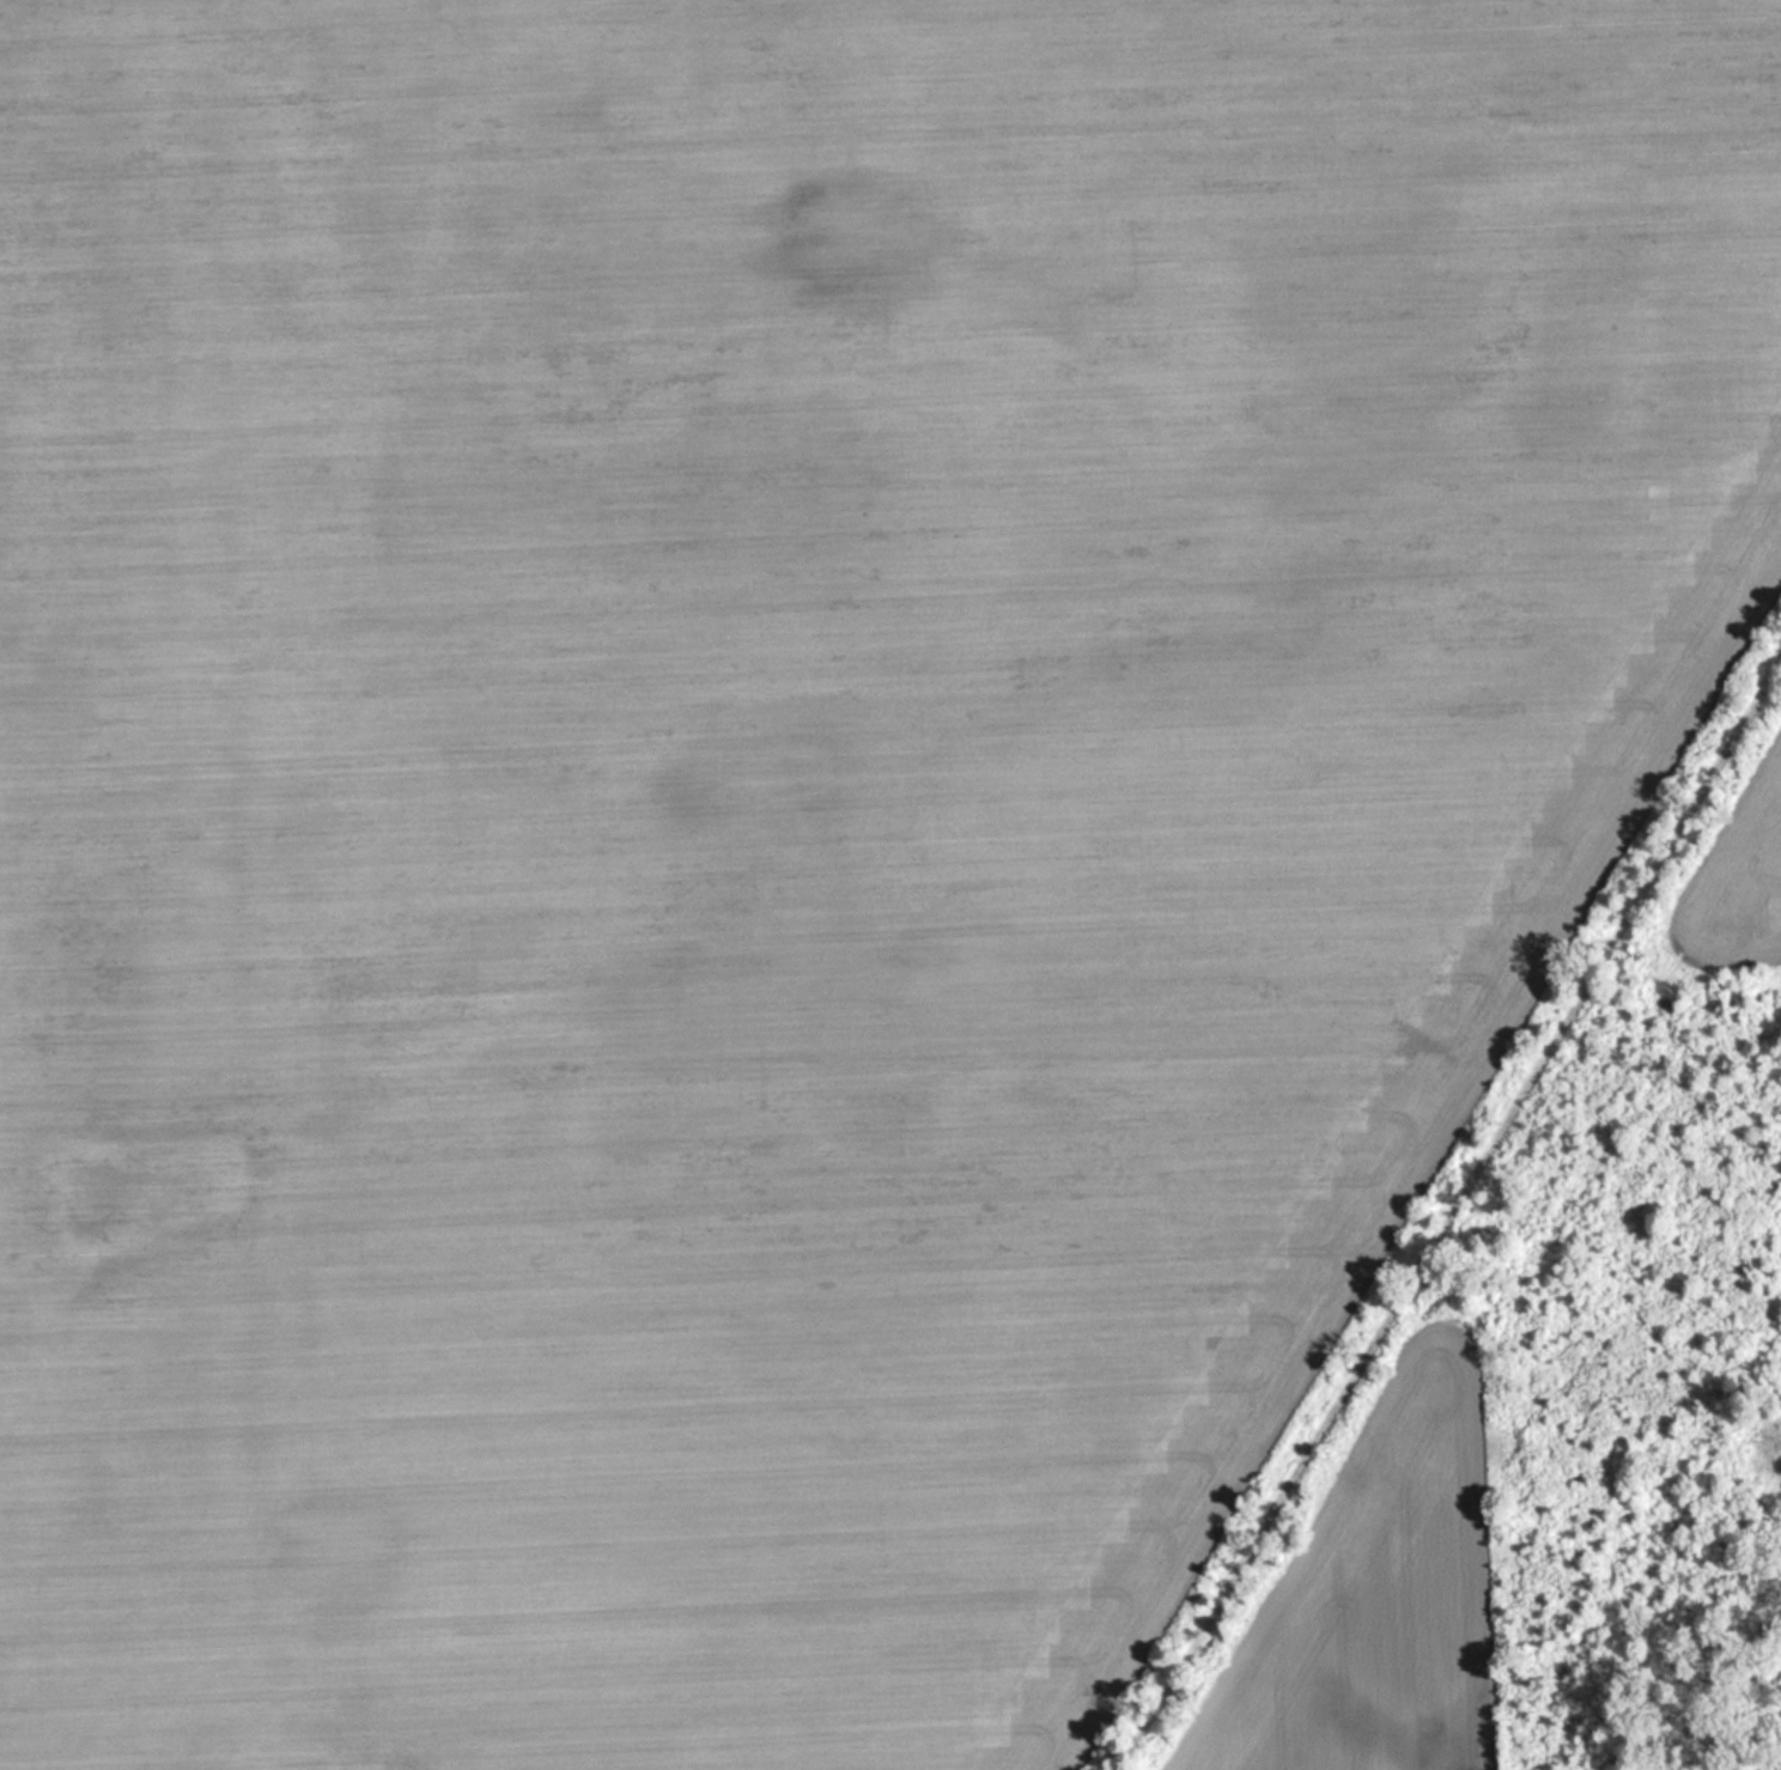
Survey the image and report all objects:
road: (1448, 1218)

